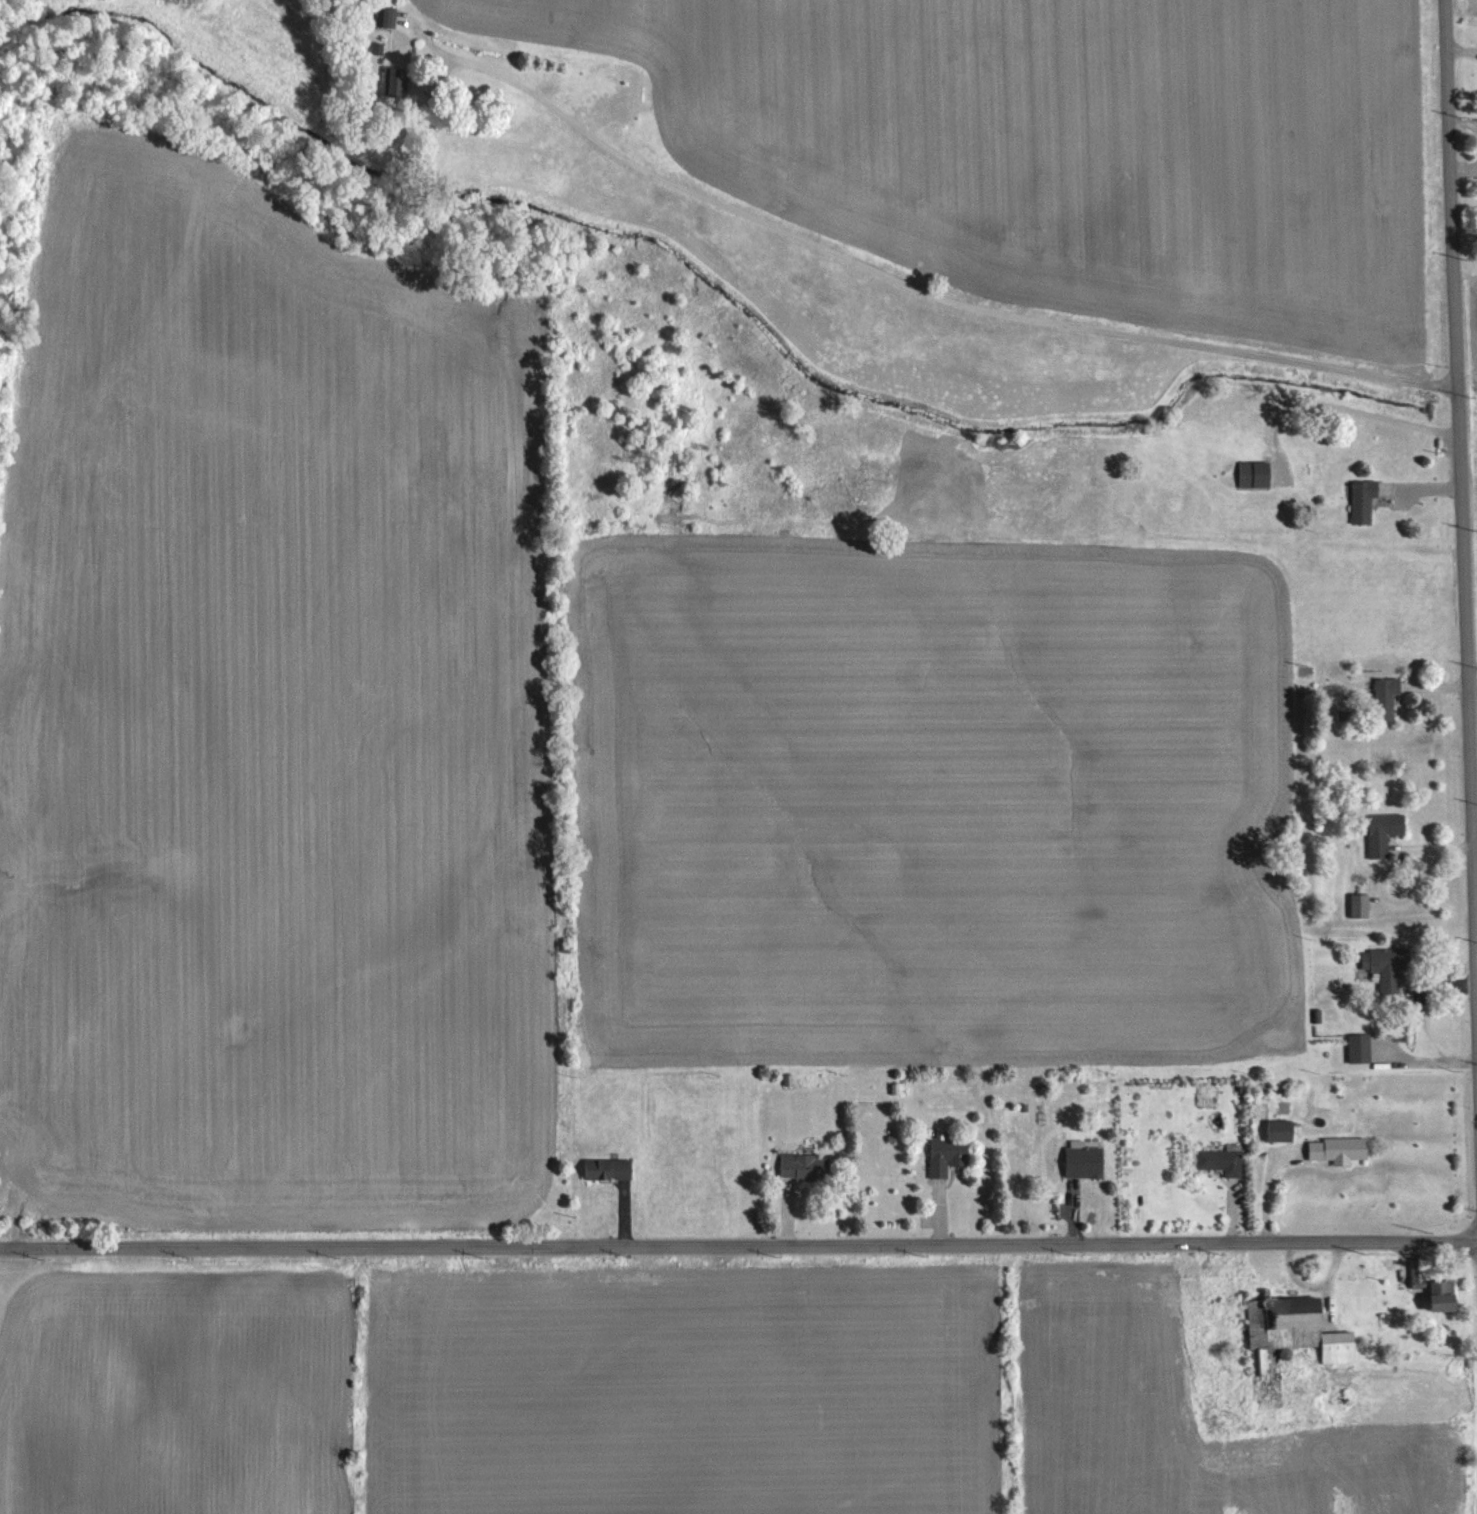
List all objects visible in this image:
building: (389, 16)
building: (395, 81)
road: (946, 308)
road: (1345, 410)
road: (1464, 421)
building: (1252, 474)
building: (1362, 500)
building: (1385, 698)
building: (1382, 833)
building: (1358, 906)
building: (1386, 968)
building: (1358, 1048)
building: (1280, 1130)
building: (1336, 1149)
building: (946, 1155)
building: (1220, 1160)
building: (1084, 1161)
building: (803, 1166)
building: (607, 1168)
road: (738, 1246)
building: (1444, 1294)
building: (1294, 1329)

